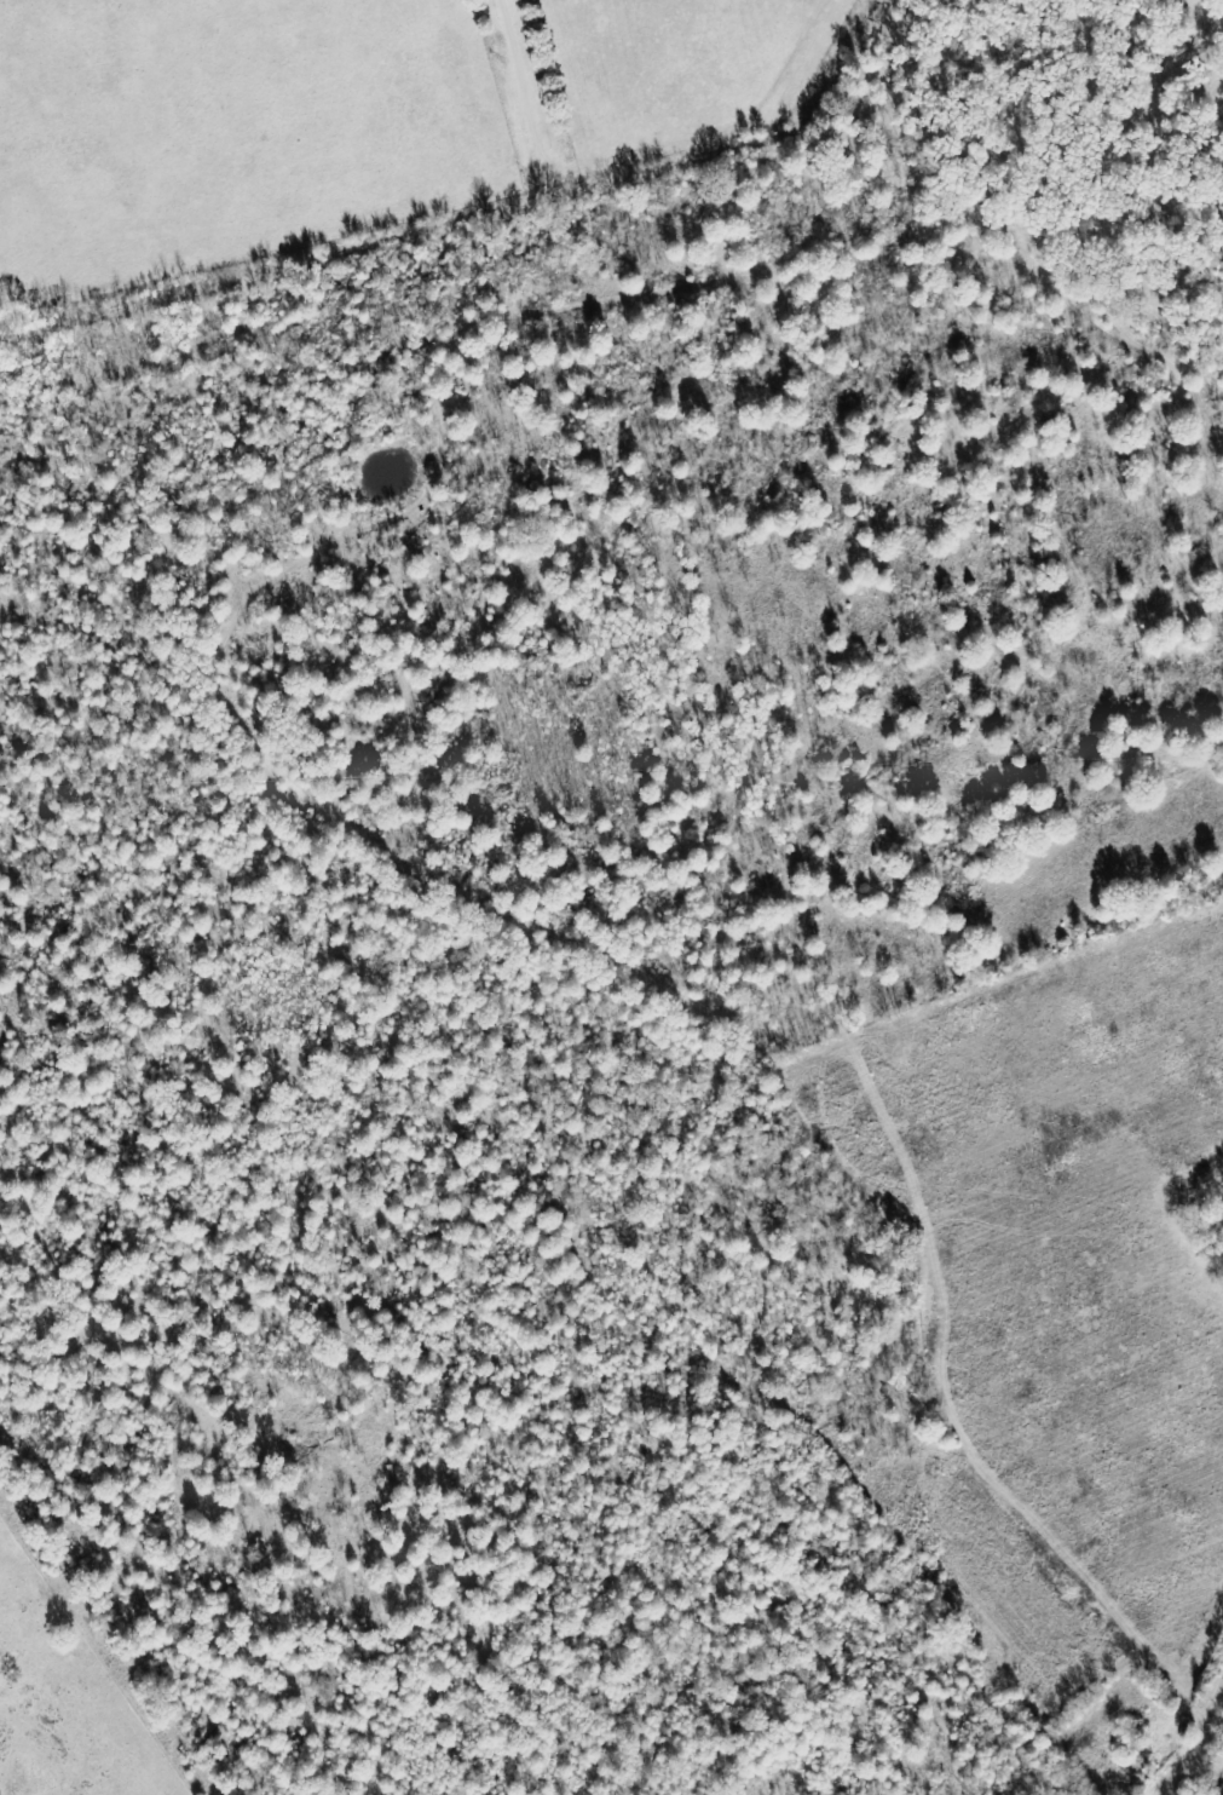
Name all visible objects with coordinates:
road: (1165, 687)
road: (1184, 1722)

